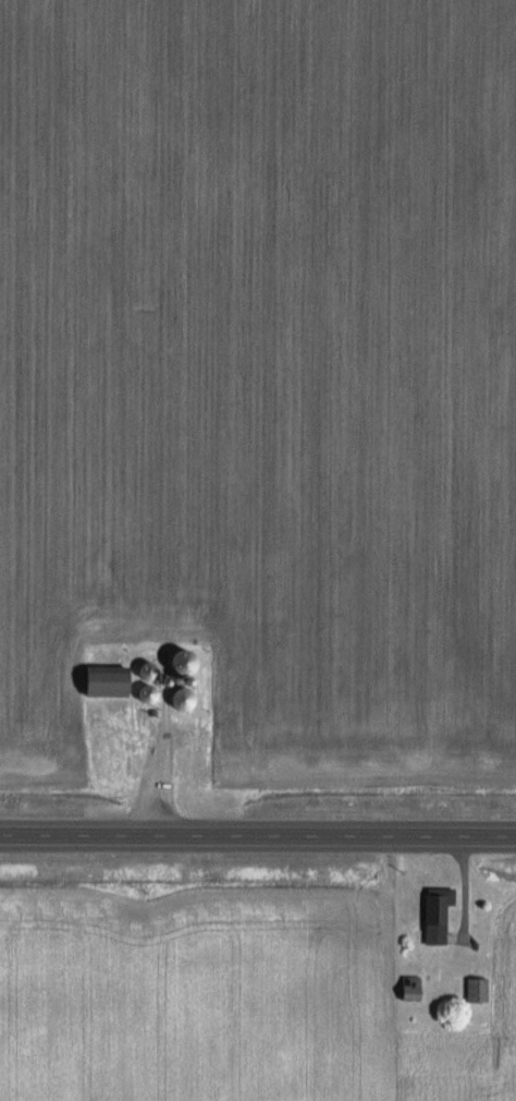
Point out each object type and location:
building: (175, 666)
building: (142, 674)
building: (100, 682)
building: (140, 695)
building: (179, 701)
road: (160, 776)
road: (257, 837)
building: (432, 917)
building: (407, 990)
building: (475, 991)

